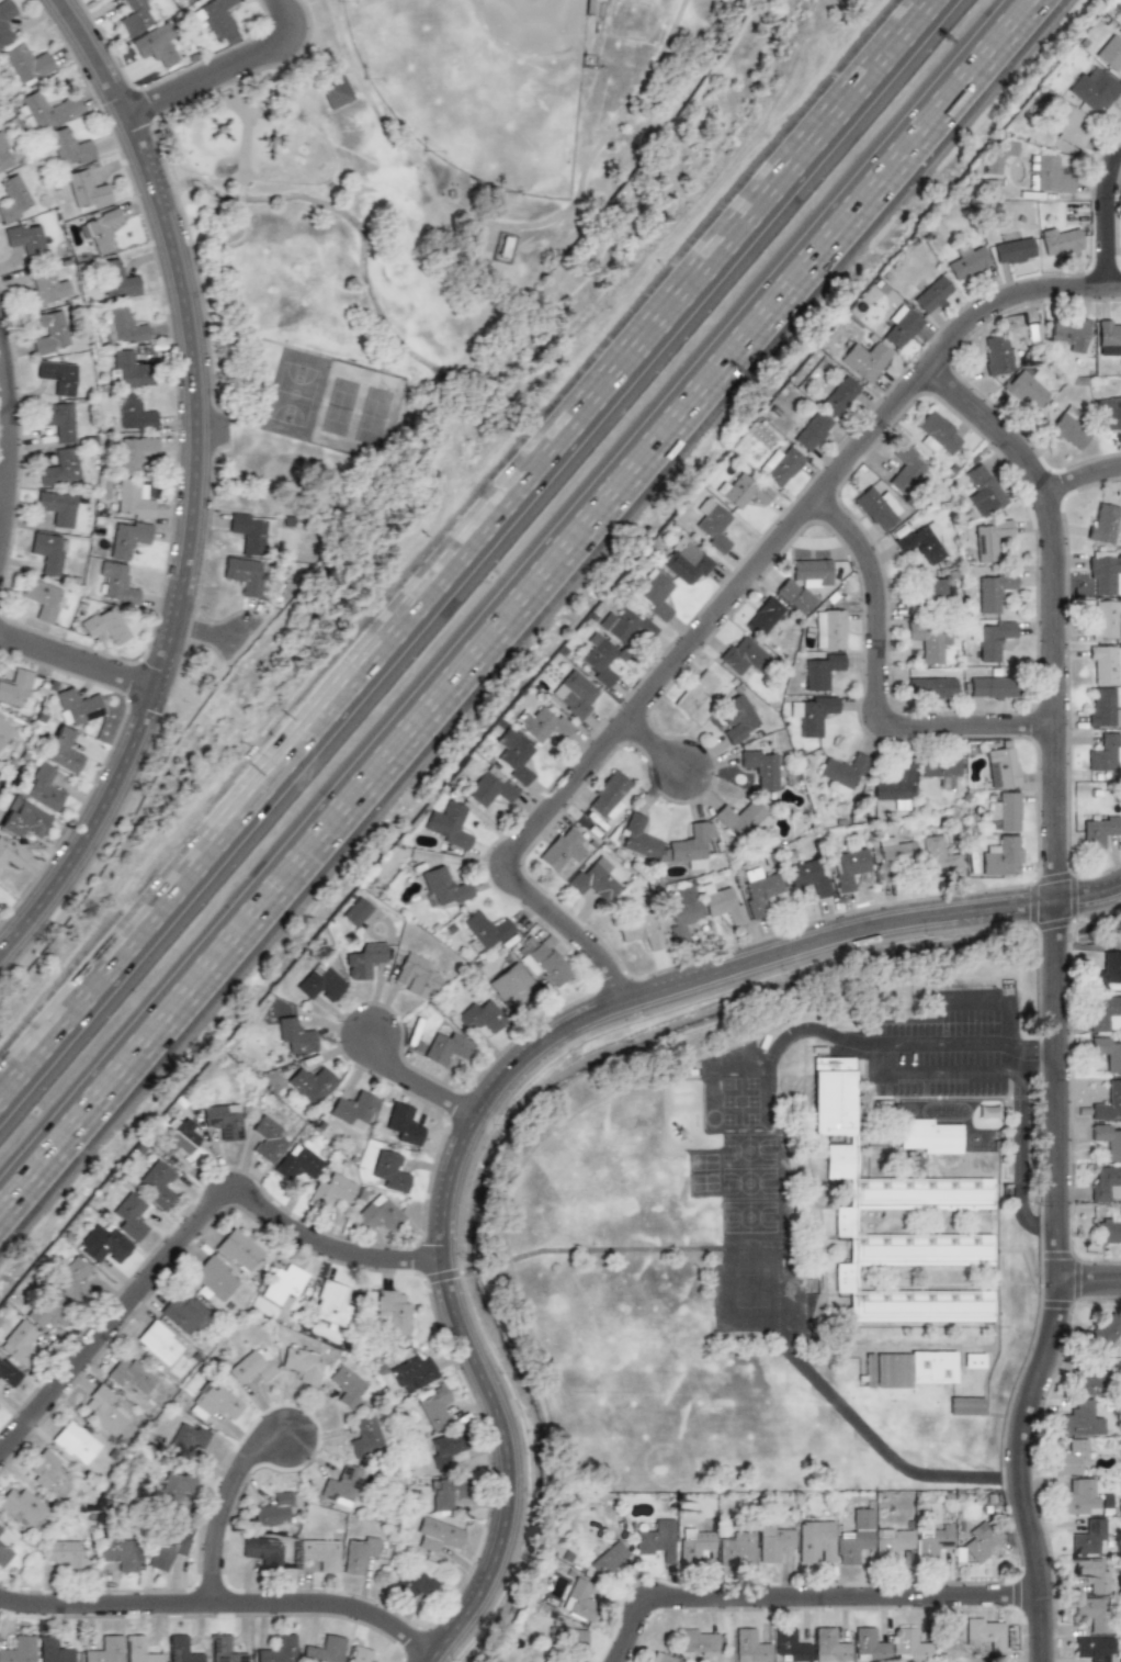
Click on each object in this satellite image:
building: (103, 0)
building: (136, 15)
building: (216, 19)
building: (7, 22)
building: (154, 46)
building: (1110, 53)
building: (26, 63)
road: (225, 67)
building: (1092, 89)
building: (336, 92)
building: (45, 111)
building: (1066, 124)
building: (70, 146)
building: (5, 154)
building: (995, 157)
building: (1049, 176)
building: (87, 190)
building: (13, 199)
road: (1106, 214)
park: (453, 222)
building: (100, 228)
building: (26, 239)
building: (1060, 239)
building: (1012, 248)
building: (966, 261)
road: (804, 277)
building: (116, 279)
building: (45, 289)
building: (932, 293)
building: (124, 325)
building: (902, 328)
building: (48, 332)
building: (1071, 335)
building: (1109, 335)
building: (995, 353)
building: (865, 359)
building: (127, 369)
building: (57, 377)
building: (1024, 391)
park: (293, 394)
building: (839, 395)
park: (354, 412)
building: (134, 413)
building: (1109, 414)
building: (57, 420)
building: (813, 430)
building: (1069, 430)
building: (937, 433)
road: (19, 446)
building: (134, 452)
building: (780, 465)
building: (60, 467)
building: (905, 467)
road: (1079, 475)
building: (744, 491)
building: (984, 491)
road: (9, 492)
road: (205, 495)
building: (133, 499)
building: (58, 508)
building: (874, 508)
building: (1102, 523)
building: (712, 525)
building: (249, 530)
building: (128, 538)
building: (988, 538)
building: (919, 542)
road: (461, 543)
building: (47, 552)
building: (687, 562)
building: (812, 570)
building: (1105, 573)
building: (242, 575)
building: (115, 583)
building: (994, 589)
building: (935, 593)
building: (656, 595)
building: (794, 596)
road: (727, 599)
building: (41, 600)
building: (763, 617)
building: (1103, 622)
building: (624, 625)
building: (104, 626)
building: (829, 628)
road: (217, 636)
building: (992, 638)
building: (928, 640)
building: (740, 654)
building: (599, 659)
road: (83, 664)
building: (1105, 664)
building: (818, 671)
road: (887, 681)
building: (15, 687)
building: (930, 687)
building: (992, 688)
building: (694, 692)
building: (574, 695)
building: (77, 705)
building: (1103, 707)
building: (815, 714)
building: (738, 717)
building: (546, 725)
building: (5, 729)
road: (660, 748)
building: (61, 750)
building: (1102, 753)
building: (513, 755)
building: (761, 767)
building: (939, 767)
building: (1000, 767)
building: (843, 772)
building: (896, 786)
building: (43, 787)
building: (487, 788)
building: (607, 795)
building: (1007, 811)
building: (739, 816)
building: (22, 818)
building: (449, 824)
building: (1099, 830)
building: (637, 836)
building: (690, 846)
building: (562, 849)
building: (10, 855)
building: (938, 856)
building: (1000, 856)
building: (893, 857)
building: (849, 866)
building: (808, 875)
building: (593, 878)
road: (284, 887)
building: (443, 887)
building: (760, 889)
building: (722, 902)
building: (355, 911)
building: (682, 912)
building: (639, 929)
building: (484, 932)
building: (361, 956)
building: (543, 959)
building: (1107, 969)
building: (415, 976)
building: (319, 982)
building: (512, 986)
road: (1053, 993)
road: (974, 1001)
building: (1105, 1014)
building: (480, 1017)
road: (1008, 1022)
road: (814, 1030)
building: (295, 1034)
road: (939, 1042)
road: (1031, 1045)
building: (445, 1048)
building: (1108, 1053)
road: (869, 1058)
road: (1007, 1060)
road: (507, 1065)
road: (937, 1077)
building: (313, 1081)
road: (420, 1083)
building: (1108, 1100)
building: (353, 1107)
building: (223, 1121)
building: (403, 1126)
building: (928, 1136)
building: (178, 1137)
building: (267, 1139)
building: (1108, 1139)
road: (1018, 1160)
building: (297, 1164)
building: (390, 1171)
building: (1105, 1182)
building: (159, 1183)
building: (330, 1191)
building: (918, 1192)
building: (377, 1214)
building: (132, 1216)
building: (1109, 1228)
building: (104, 1245)
road: (194, 1246)
building: (238, 1250)
road: (1088, 1270)
building: (75, 1273)
building: (214, 1278)
building: (283, 1283)
building: (331, 1302)
building: (49, 1310)
building: (392, 1313)
building: (185, 1314)
building: (1102, 1330)
building: (20, 1343)
building: (159, 1343)
building: (974, 1359)
building: (307, 1361)
building: (250, 1367)
building: (909, 1368)
building: (412, 1371)
building: (8, 1373)
building: (129, 1375)
building: (1089, 1378)
building: (347, 1384)
building: (213, 1401)
building: (433, 1405)
building: (965, 1405)
building: (104, 1410)
building: (1077, 1419)
building: (365, 1434)
building: (188, 1437)
building: (73, 1441)
building: (444, 1448)
road: (881, 1453)
building: (1068, 1457)
building: (49, 1473)
building: (174, 1486)
building: (341, 1486)
building: (446, 1493)
building: (1076, 1497)
building: (21, 1507)
building: (271, 1511)
road: (233, 1516)
building: (435, 1534)
building: (853, 1536)
building: (1086, 1537)
building: (657, 1539)
building: (980, 1539)
building: (773, 1541)
building: (815, 1541)
building: (891, 1543)
building: (929, 1543)
building: (694, 1545)
building: (3, 1547)
building: (736, 1548)
building: (167, 1550)
building: (263, 1551)
building: (64, 1552)
building: (115, 1552)
building: (358, 1552)
building: (320, 1553)
building: (609, 1560)
building: (1088, 1574)
building: (415, 1580)
building: (579, 1599)
road: (812, 1601)
building: (1088, 1612)
road: (219, 1613)
building: (986, 1636)
building: (566, 1637)
building: (699, 1642)
building: (790, 1644)
building: (827, 1644)
building: (868, 1644)
building: (908, 1644)
building: (750, 1646)
building: (18, 1649)
building: (53, 1649)
building: (181, 1649)
building: (223, 1649)
building: (276, 1649)
building: (1088, 1649)
building: (104, 1650)
building: (322, 1650)
building: (140, 1651)
building: (361, 1654)
building: (661, 1658)
building: (543, 1661)

